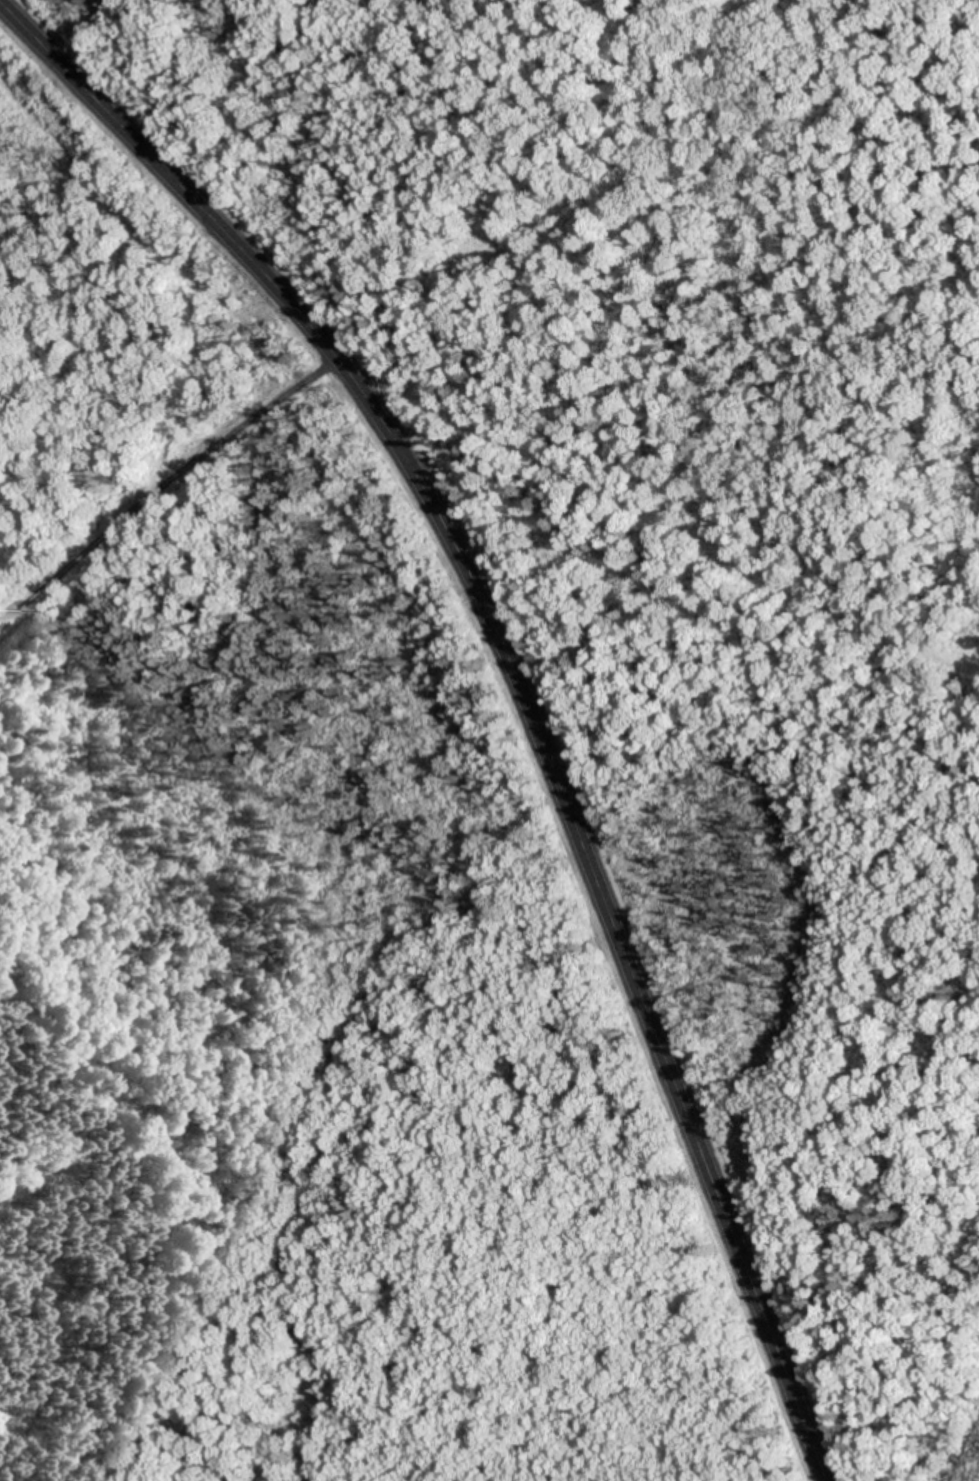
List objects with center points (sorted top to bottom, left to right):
road: (520, 675)

